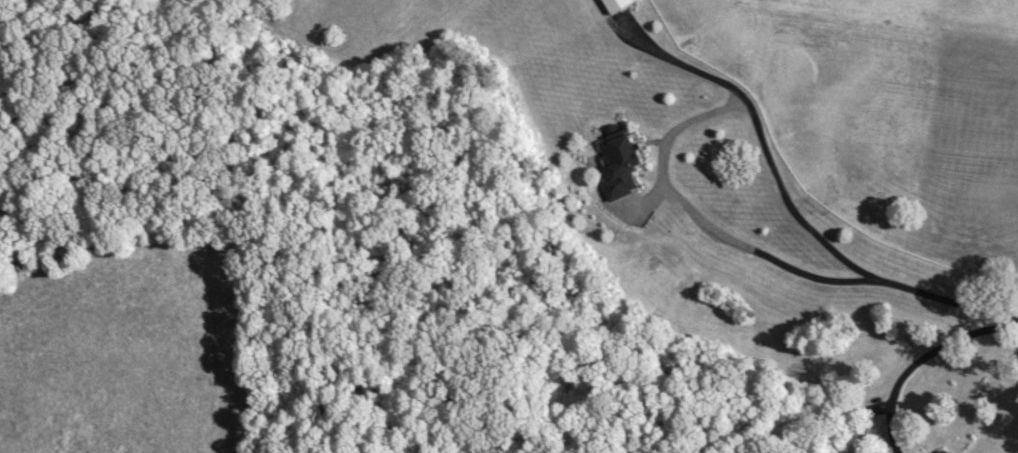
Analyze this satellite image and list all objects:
building: (617, 6)
building: (622, 161)
road: (803, 211)
road: (925, 362)

